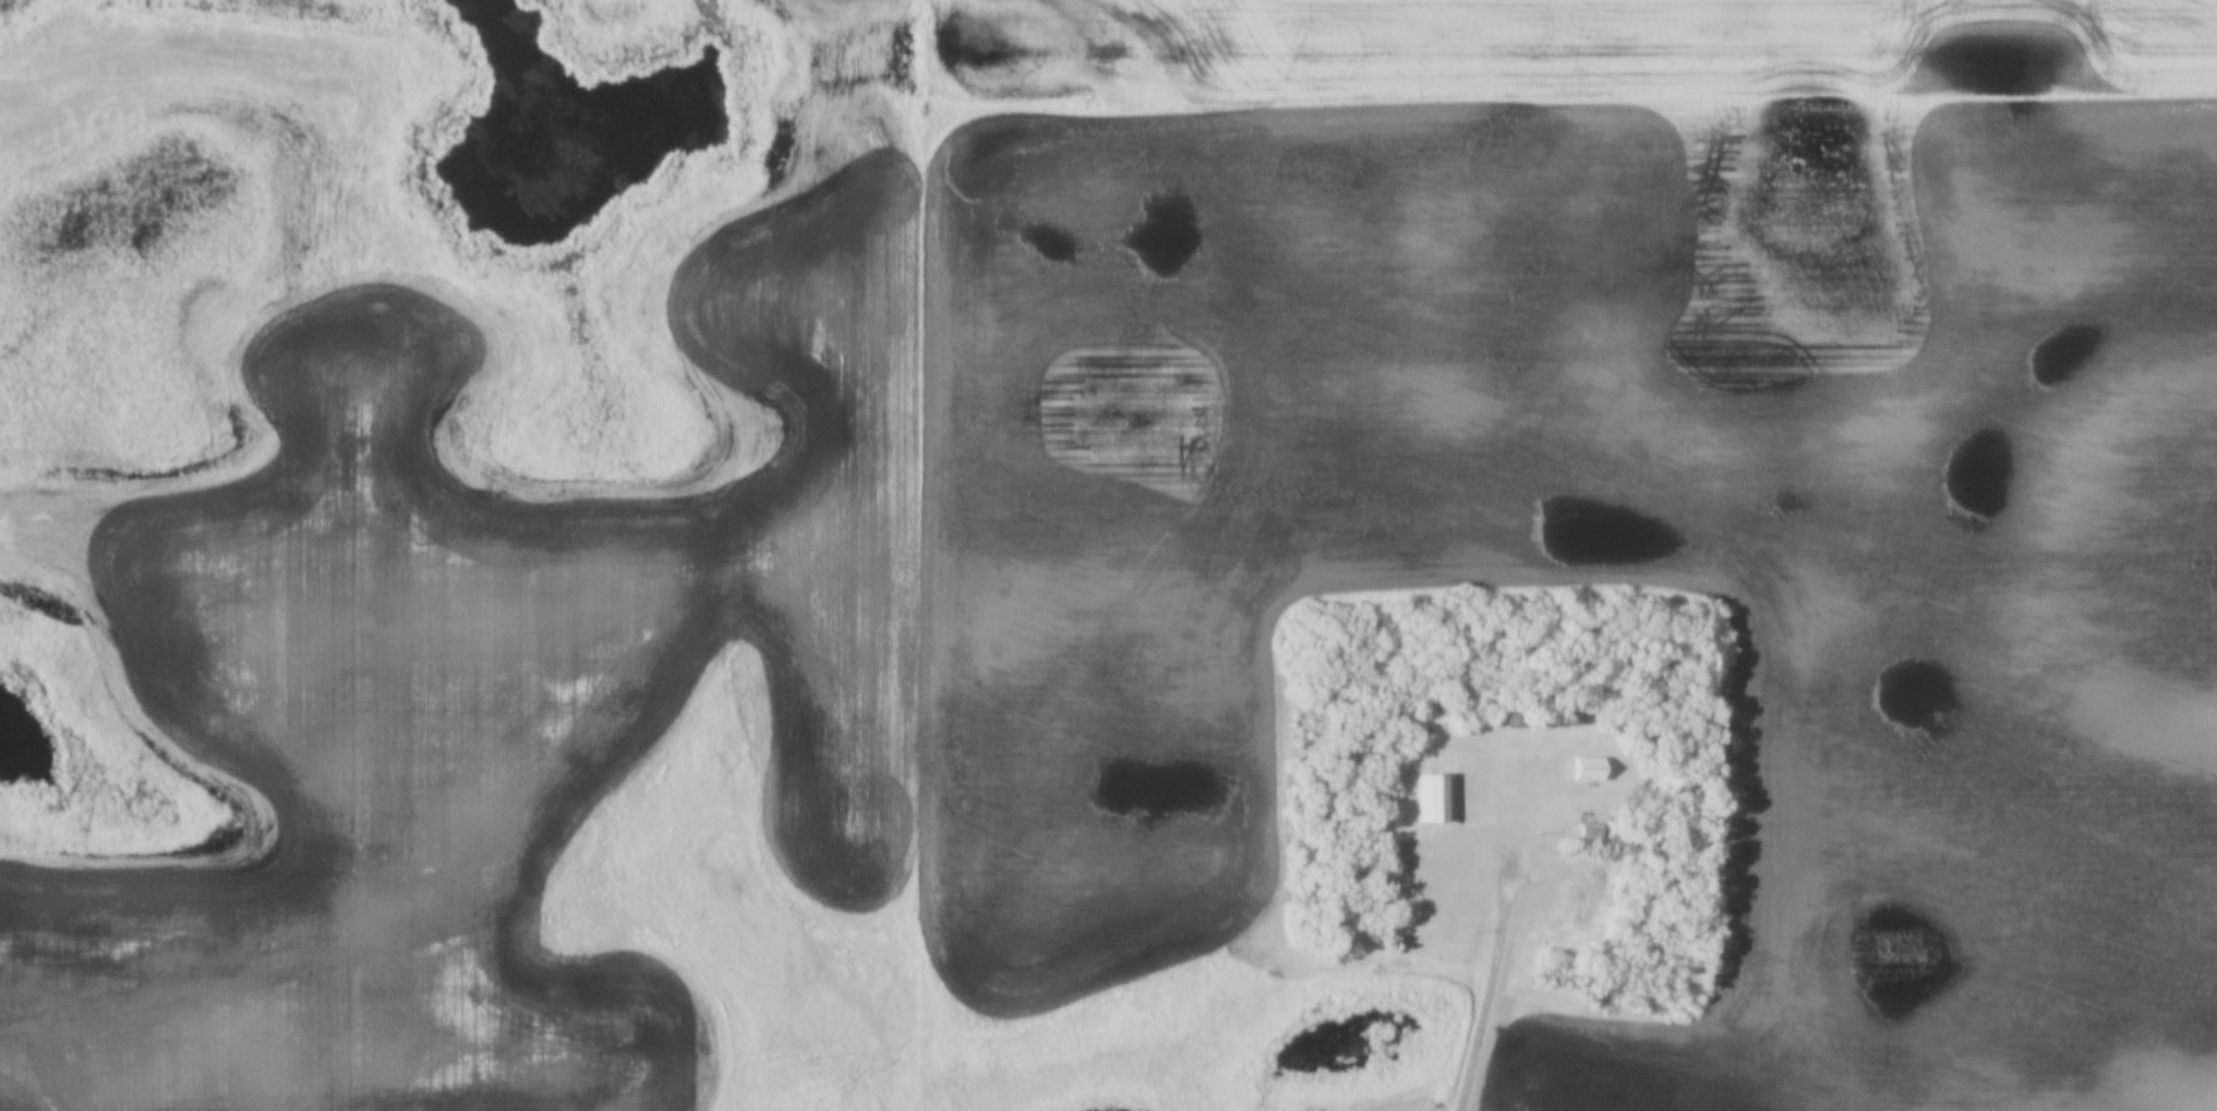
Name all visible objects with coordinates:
building: (1911, 3)
building: (1586, 769)
building: (1436, 799)
building: (1593, 901)
road: (1493, 981)

